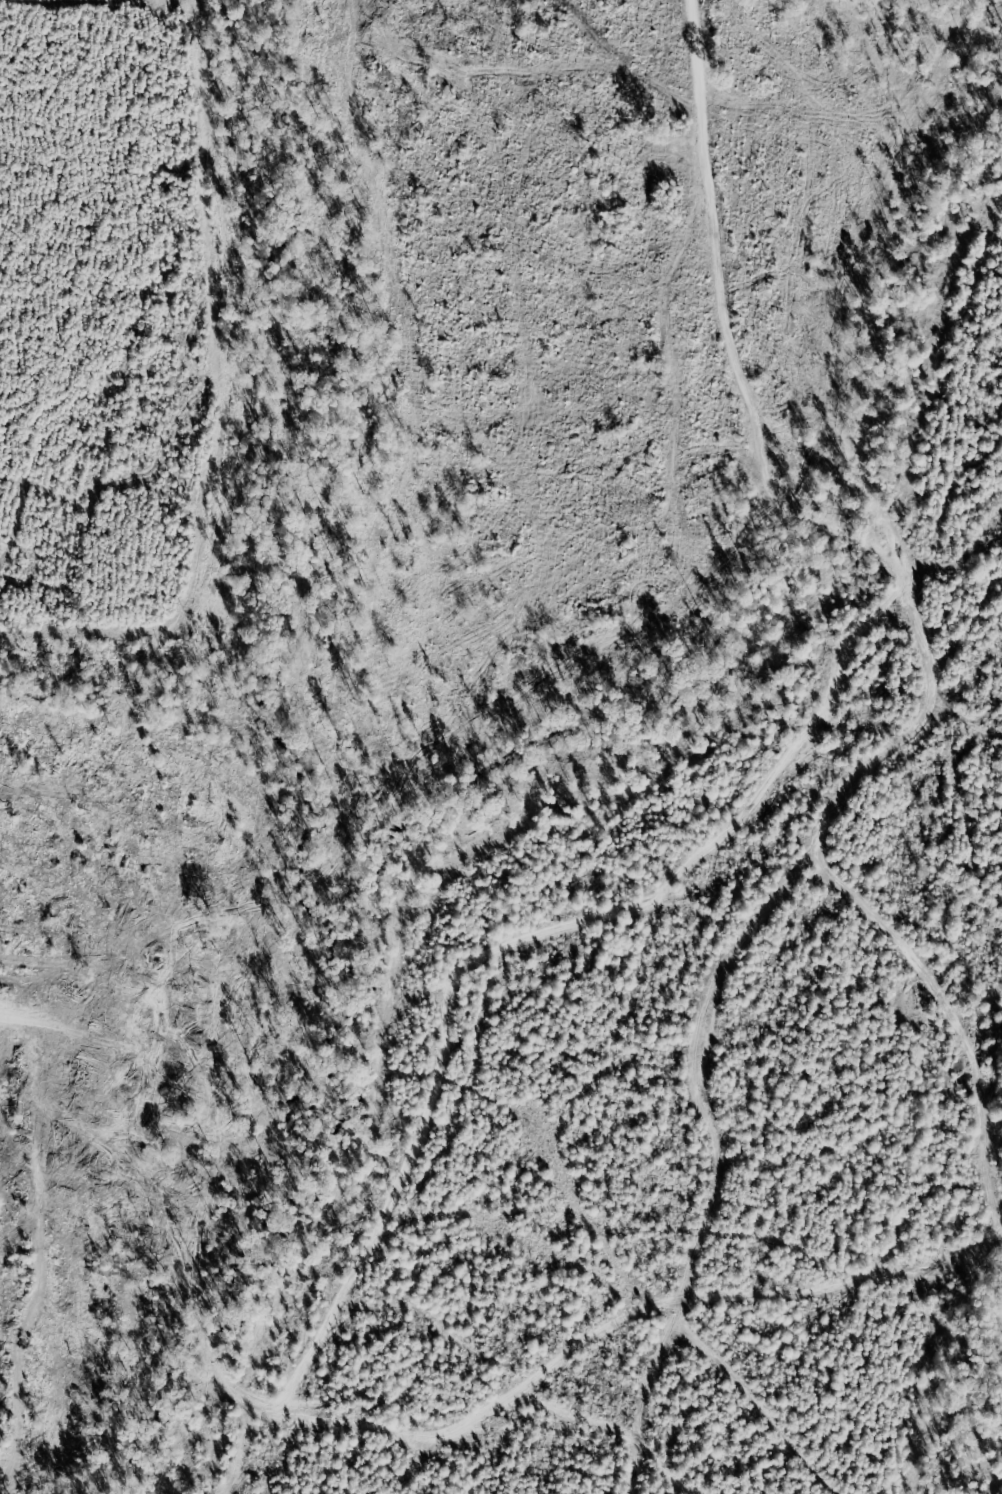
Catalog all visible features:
road: (907, 614)

